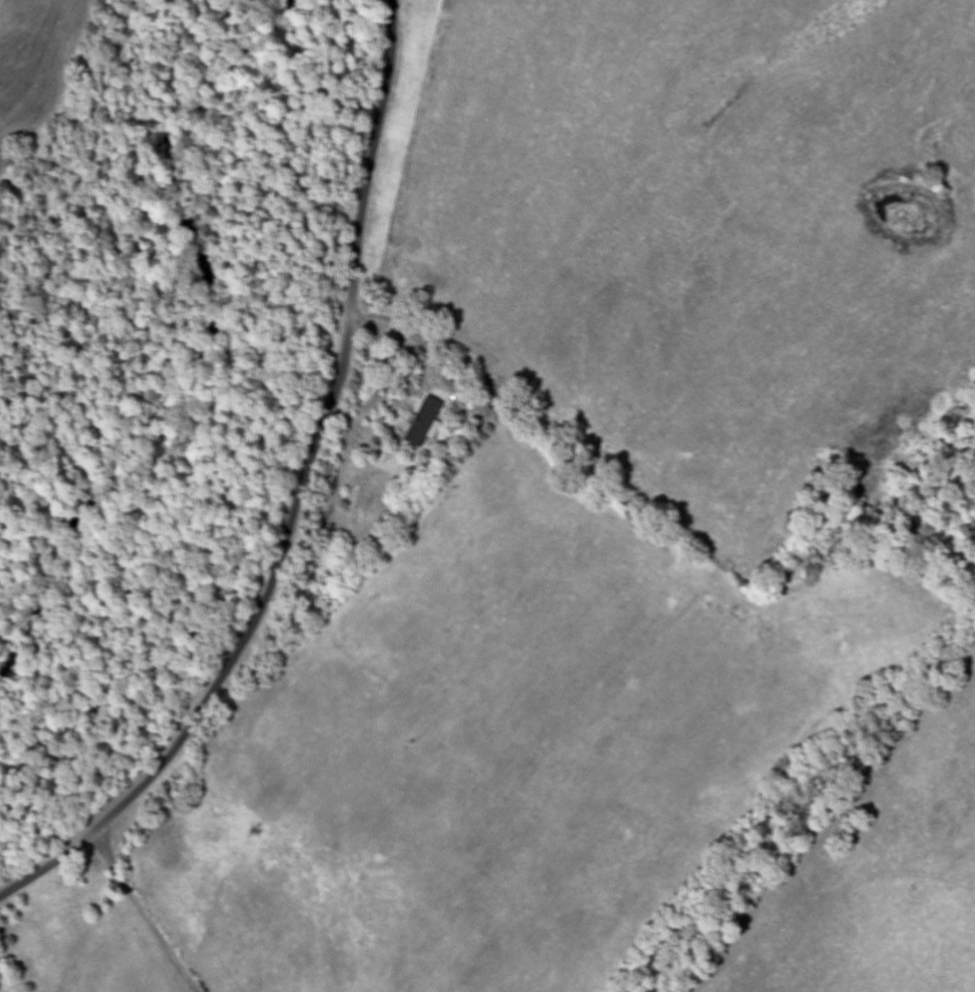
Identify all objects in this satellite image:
building: (424, 421)
road: (300, 499)

